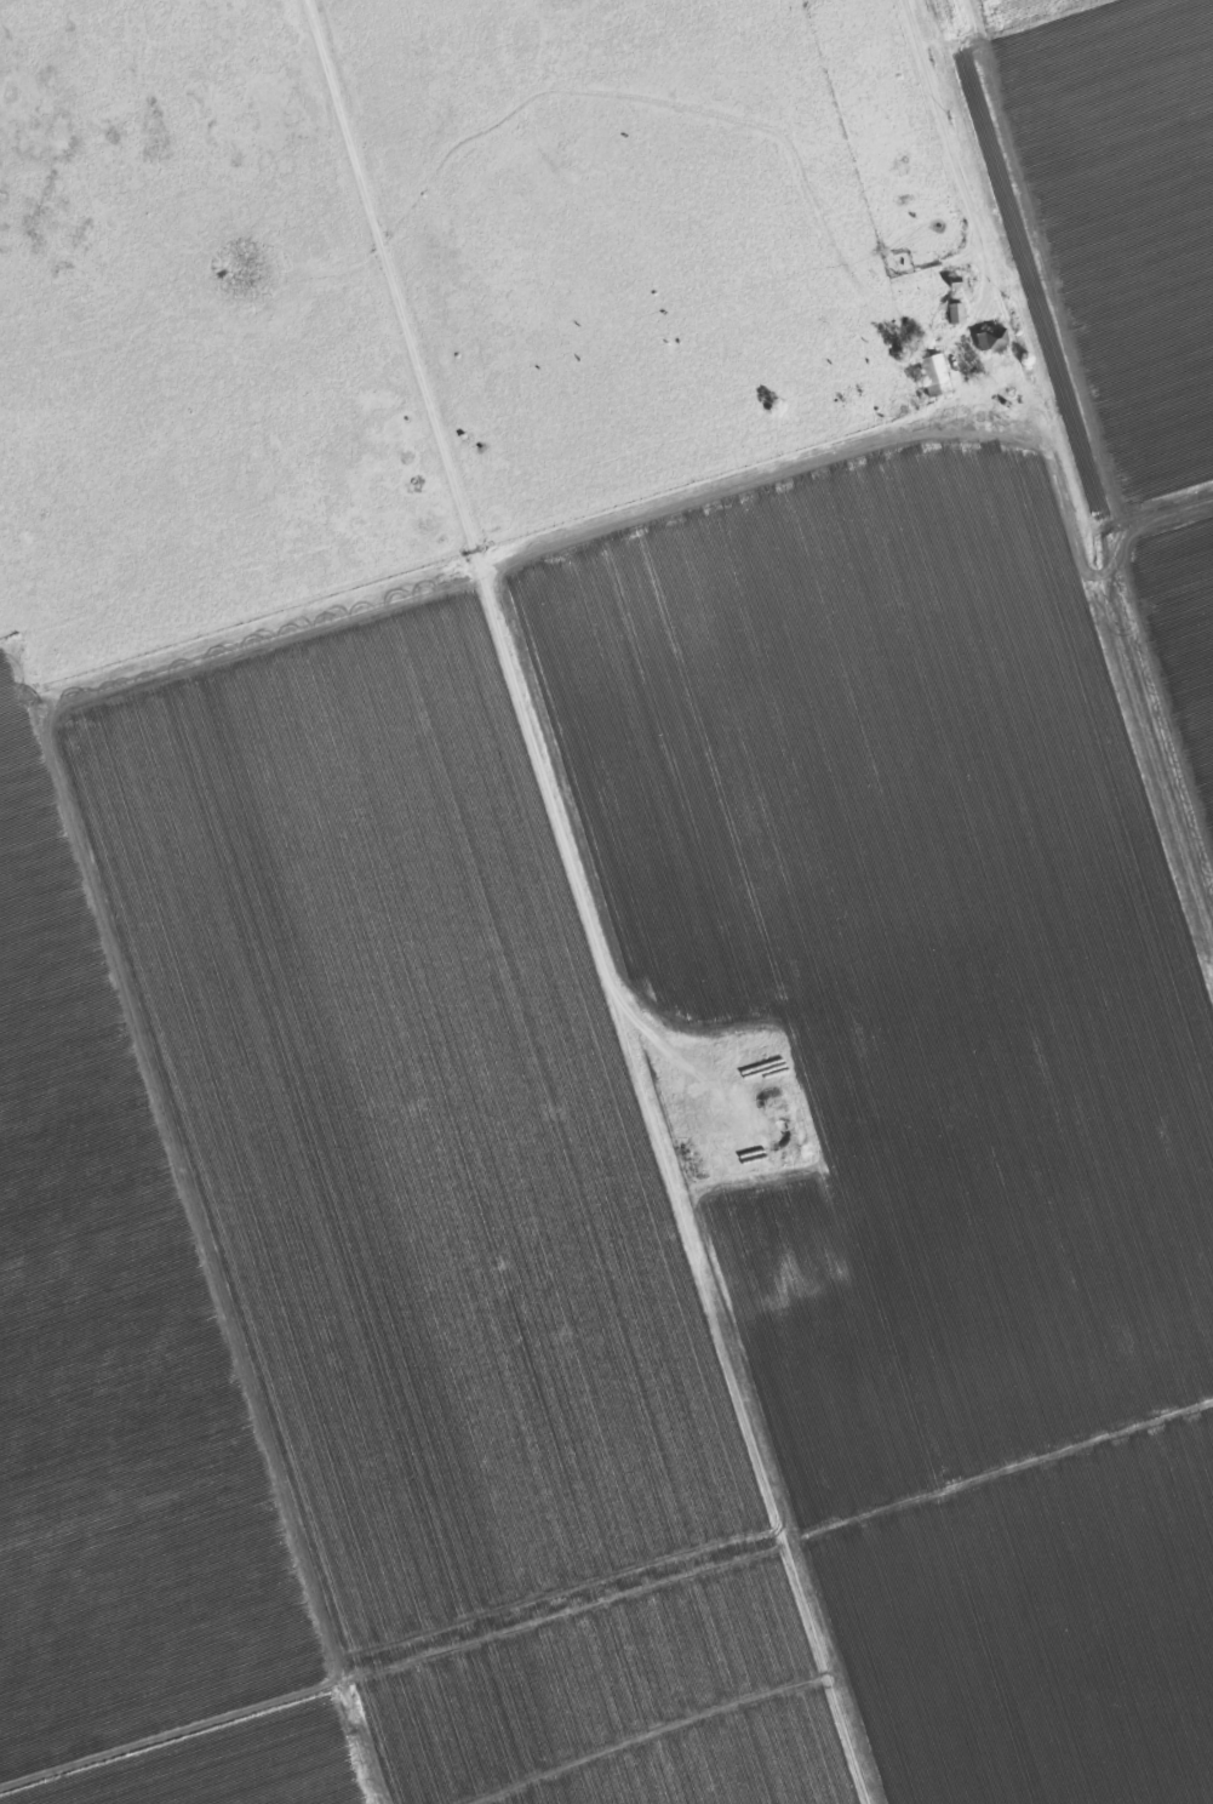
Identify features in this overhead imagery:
road: (316, 44)
road: (957, 153)

